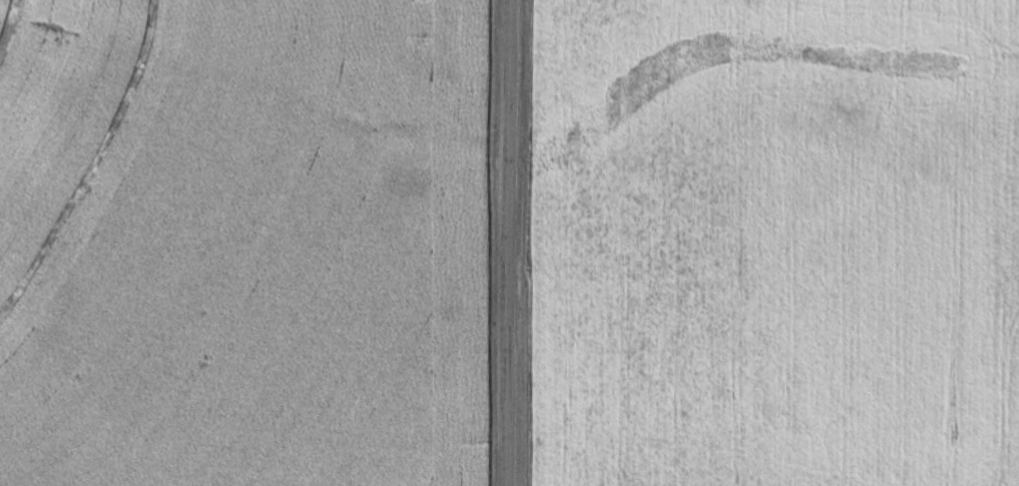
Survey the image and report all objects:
road: (511, 243)

